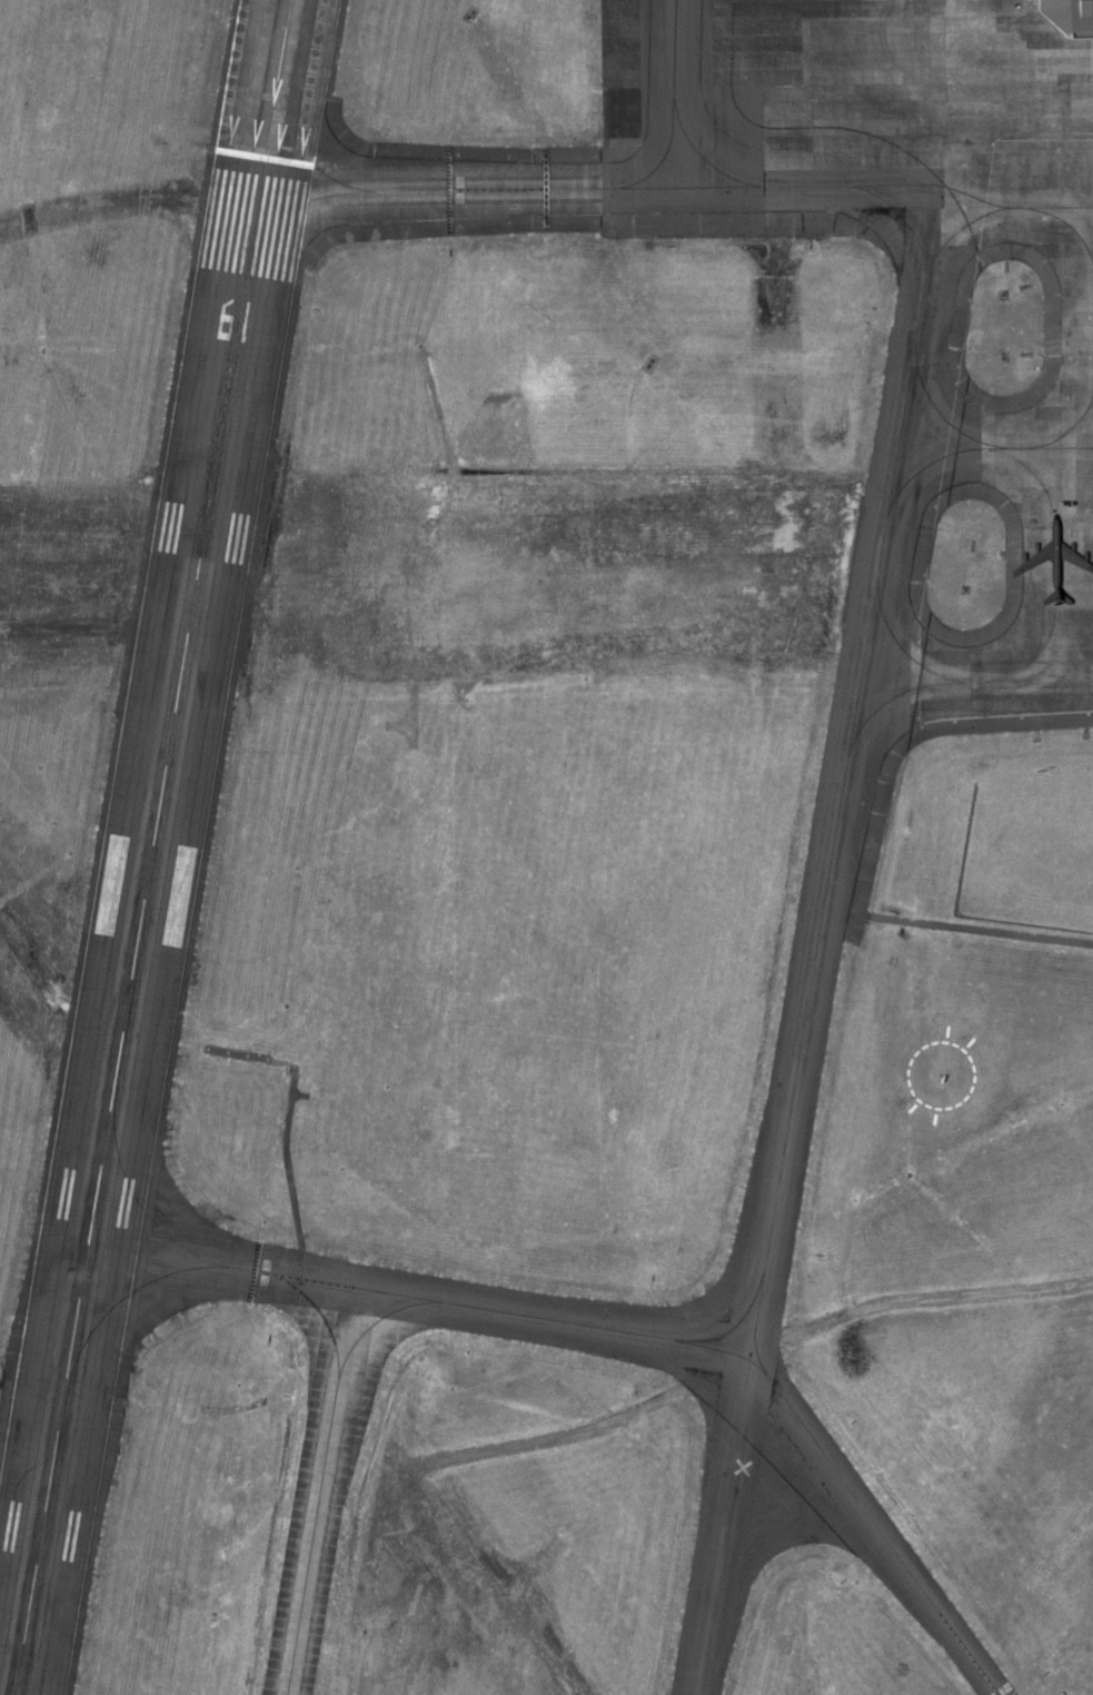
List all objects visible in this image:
building: (1045, 16)
building: (892, 24)
airport taxiway: (277, 78)
airport taxiway: (682, 92)
airport taxiway: (470, 188)
airport apron: (1021, 498)
airport taxiway: (862, 674)
airport: (546, 847)
airport runway: (139, 925)
airport taxiway: (622, 1340)
airport taxiway: (319, 1491)

